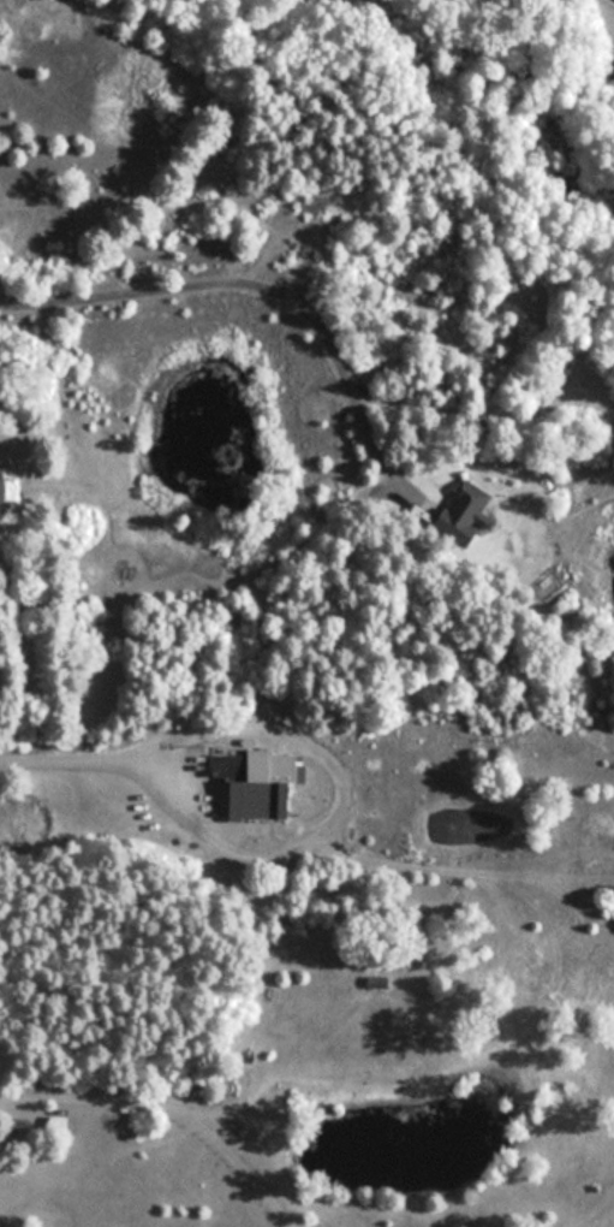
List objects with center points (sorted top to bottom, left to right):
road: (181, 182)
road: (263, 283)
building: (455, 512)
road: (135, 784)
building: (245, 792)
building: (393, 982)
road: (38, 1083)
building: (61, 1127)

